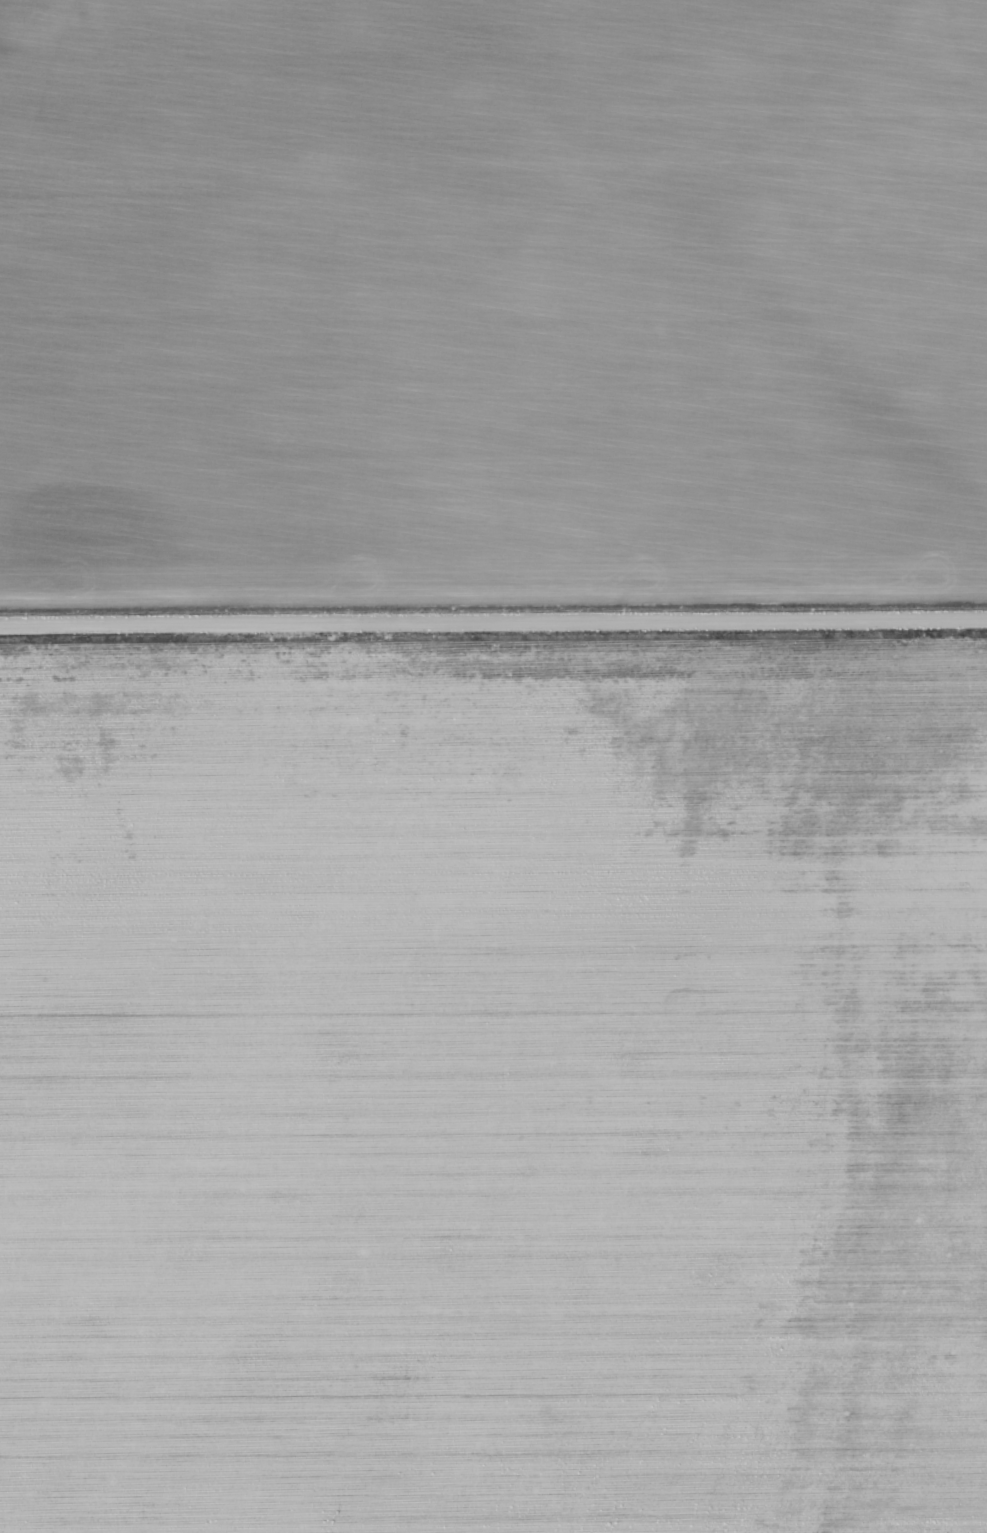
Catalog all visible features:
road: (493, 619)

